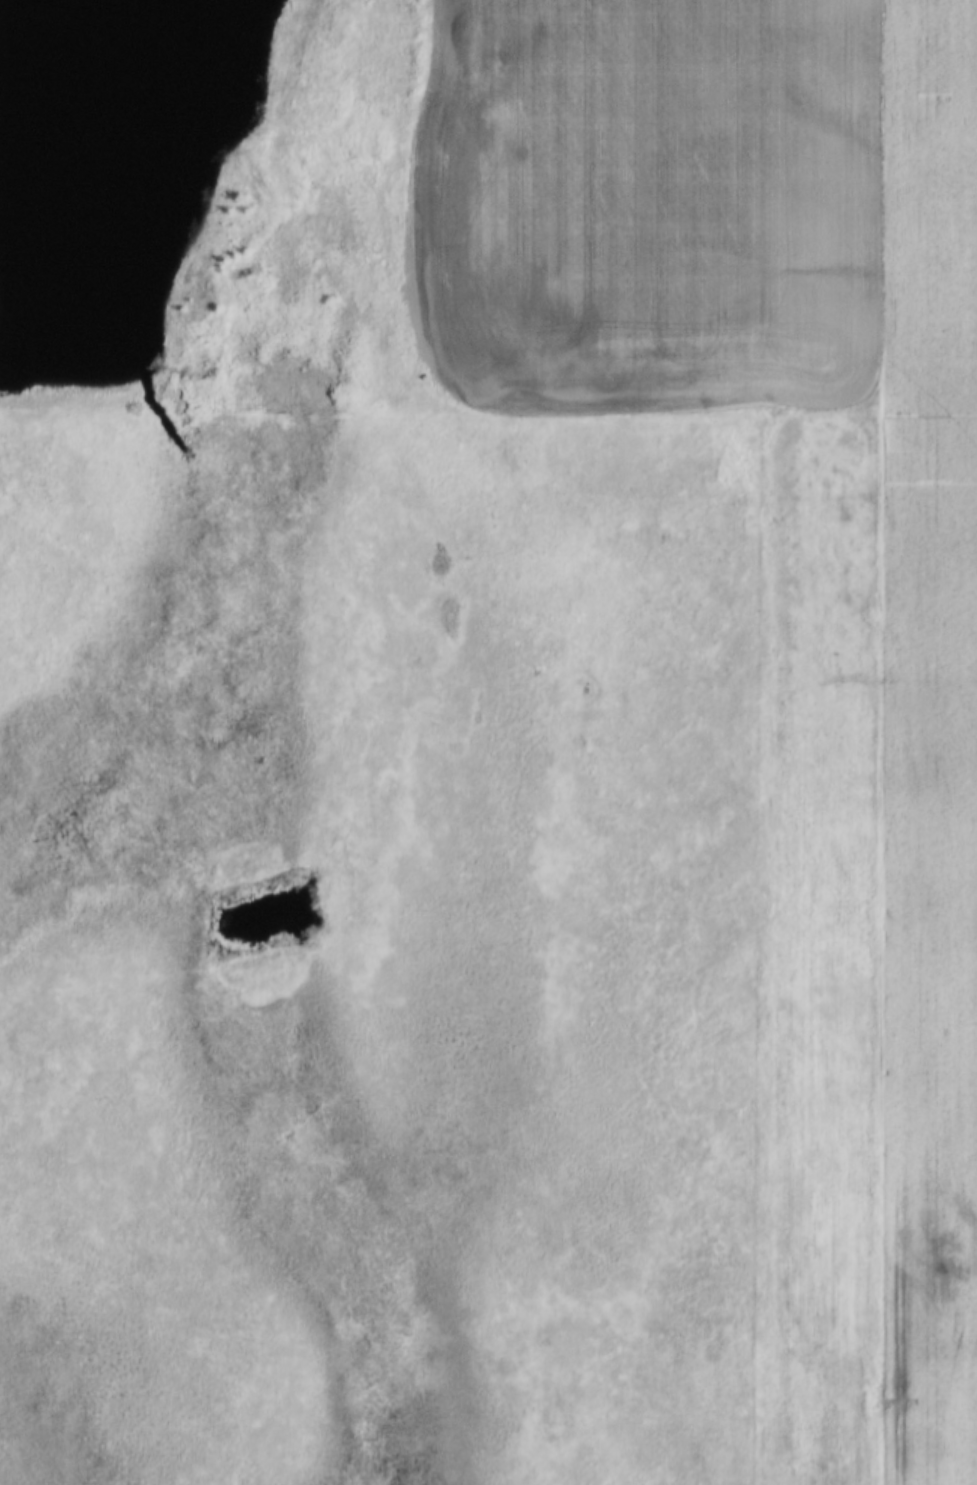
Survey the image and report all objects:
quarry: (159, 176)

